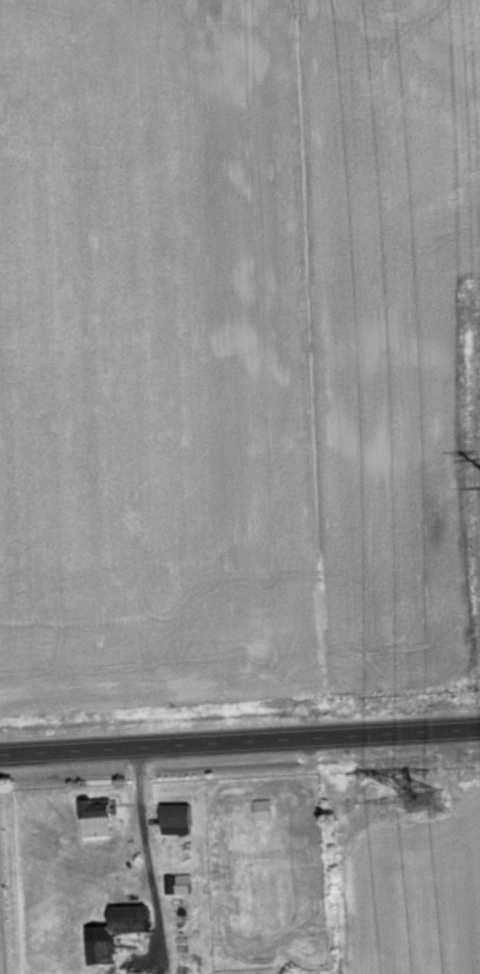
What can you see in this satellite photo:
road: (240, 738)
power tower: (419, 796)
building: (261, 808)
building: (96, 811)
building: (175, 813)
building: (179, 882)
building: (114, 929)
building: (0, 954)

